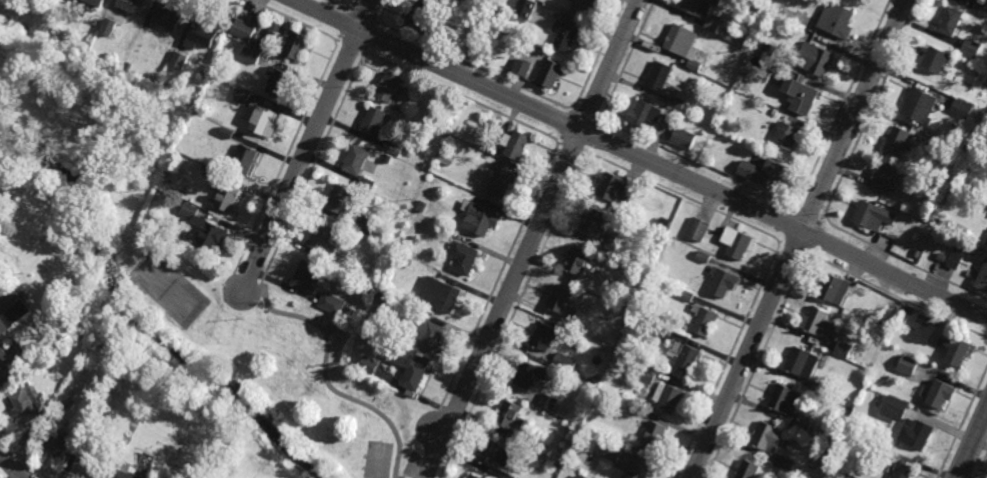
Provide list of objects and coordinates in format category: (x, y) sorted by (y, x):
building: (965, 0)
building: (31, 1)
road: (354, 2)
building: (96, 3)
building: (456, 3)
building: (586, 5)
building: (133, 6)
road: (339, 6)
road: (354, 7)
building: (524, 7)
building: (700, 7)
building: (982, 8)
road: (383, 9)
road: (365, 14)
building: (422, 14)
road: (377, 19)
building: (168, 20)
road: (295, 21)
building: (835, 21)
building: (949, 22)
road: (348, 25)
building: (107, 26)
building: (243, 29)
building: (274, 29)
building: (440, 29)
road: (369, 35)
building: (204, 36)
building: (566, 37)
building: (744, 42)
building: (682, 43)
building: (759, 44)
road: (353, 45)
building: (297, 46)
building: (971, 48)
road: (366, 52)
building: (251, 53)
road: (599, 54)
building: (178, 59)
road: (627, 60)
building: (813, 60)
building: (933, 62)
road: (474, 66)
building: (520, 66)
building: (552, 75)
building: (661, 77)
building: (164, 84)
building: (280, 84)
building: (390, 87)
building: (241, 96)
building: (801, 96)
road: (464, 97)
building: (676, 101)
road: (843, 103)
building: (915, 107)
road: (871, 108)
building: (961, 108)
road: (573, 109)
building: (774, 112)
road: (585, 116)
building: (645, 117)
road: (600, 121)
building: (262, 122)
building: (376, 123)
road: (568, 127)
building: (225, 132)
road: (588, 137)
building: (681, 138)
building: (787, 138)
building: (896, 142)
road: (559, 144)
road: (307, 145)
building: (486, 146)
building: (516, 146)
building: (942, 146)
road: (571, 147)
building: (392, 148)
road: (285, 157)
road: (640, 157)
building: (246, 159)
building: (356, 161)
road: (697, 165)
road: (312, 169)
building: (984, 170)
building: (208, 171)
building: (763, 174)
building: (883, 182)
building: (501, 183)
building: (371, 186)
building: (612, 188)
building: (628, 190)
road: (679, 194)
building: (229, 199)
building: (340, 199)
building: (420, 206)
road: (796, 208)
building: (188, 211)
building: (865, 214)
road: (808, 215)
road: (822, 218)
building: (481, 220)
building: (663, 222)
building: (594, 223)
building: (917, 224)
building: (364, 225)
road: (790, 226)
building: (697, 229)
building: (209, 234)
road: (813, 235)
road: (798, 238)
building: (411, 239)
road: (531, 239)
building: (324, 240)
building: (739, 245)
building: (609, 246)
road: (795, 247)
road: (810, 254)
building: (941, 257)
building: (464, 258)
building: (955, 258)
building: (579, 260)
road: (903, 262)
building: (337, 264)
road: (240, 276)
building: (306, 277)
road: (498, 277)
building: (982, 278)
road: (253, 282)
building: (722, 283)
building: (386, 284)
park: (167, 290)
building: (832, 291)
building: (22, 294)
building: (441, 294)
building: (685, 295)
road: (899, 298)
building: (560, 300)
building: (330, 303)
road: (510, 316)
building: (14, 317)
building: (704, 320)
building: (644, 326)
building: (819, 326)
building: (432, 337)
building: (544, 338)
building: (611, 339)
building: (841, 349)
building: (952, 352)
building: (684, 355)
road: (728, 358)
building: (563, 362)
park: (236, 363)
building: (799, 363)
building: (905, 364)
building: (367, 365)
road: (756, 365)
building: (8, 368)
building: (415, 371)
building: (642, 373)
building: (529, 376)
road: (325, 380)
building: (625, 388)
building: (821, 389)
building: (937, 395)
building: (668, 399)
building: (783, 401)
building: (546, 402)
building: (57, 405)
building: (25, 407)
building: (902, 408)
building: (634, 409)
road: (451, 415)
building: (510, 417)
road: (962, 423)
building: (802, 425)
building: (821, 434)
building: (914, 435)
building: (655, 438)
building: (765, 438)
building: (56, 441)
building: (533, 443)
road: (972, 444)
building: (883, 450)
building: (612, 452)
building: (497, 456)
building: (538, 458)
park: (377, 461)
building: (785, 464)
road: (981, 464)
building: (93, 465)
parking lot: (412, 465)
road: (10, 466)
building: (749, 470)
building: (129, 471)
building: (639, 471)
building: (565, 472)
building: (901, 472)
building: (154, 473)
building: (504, 475)
building: (574, 475)
building: (580, 476)
building: (473, 477)

